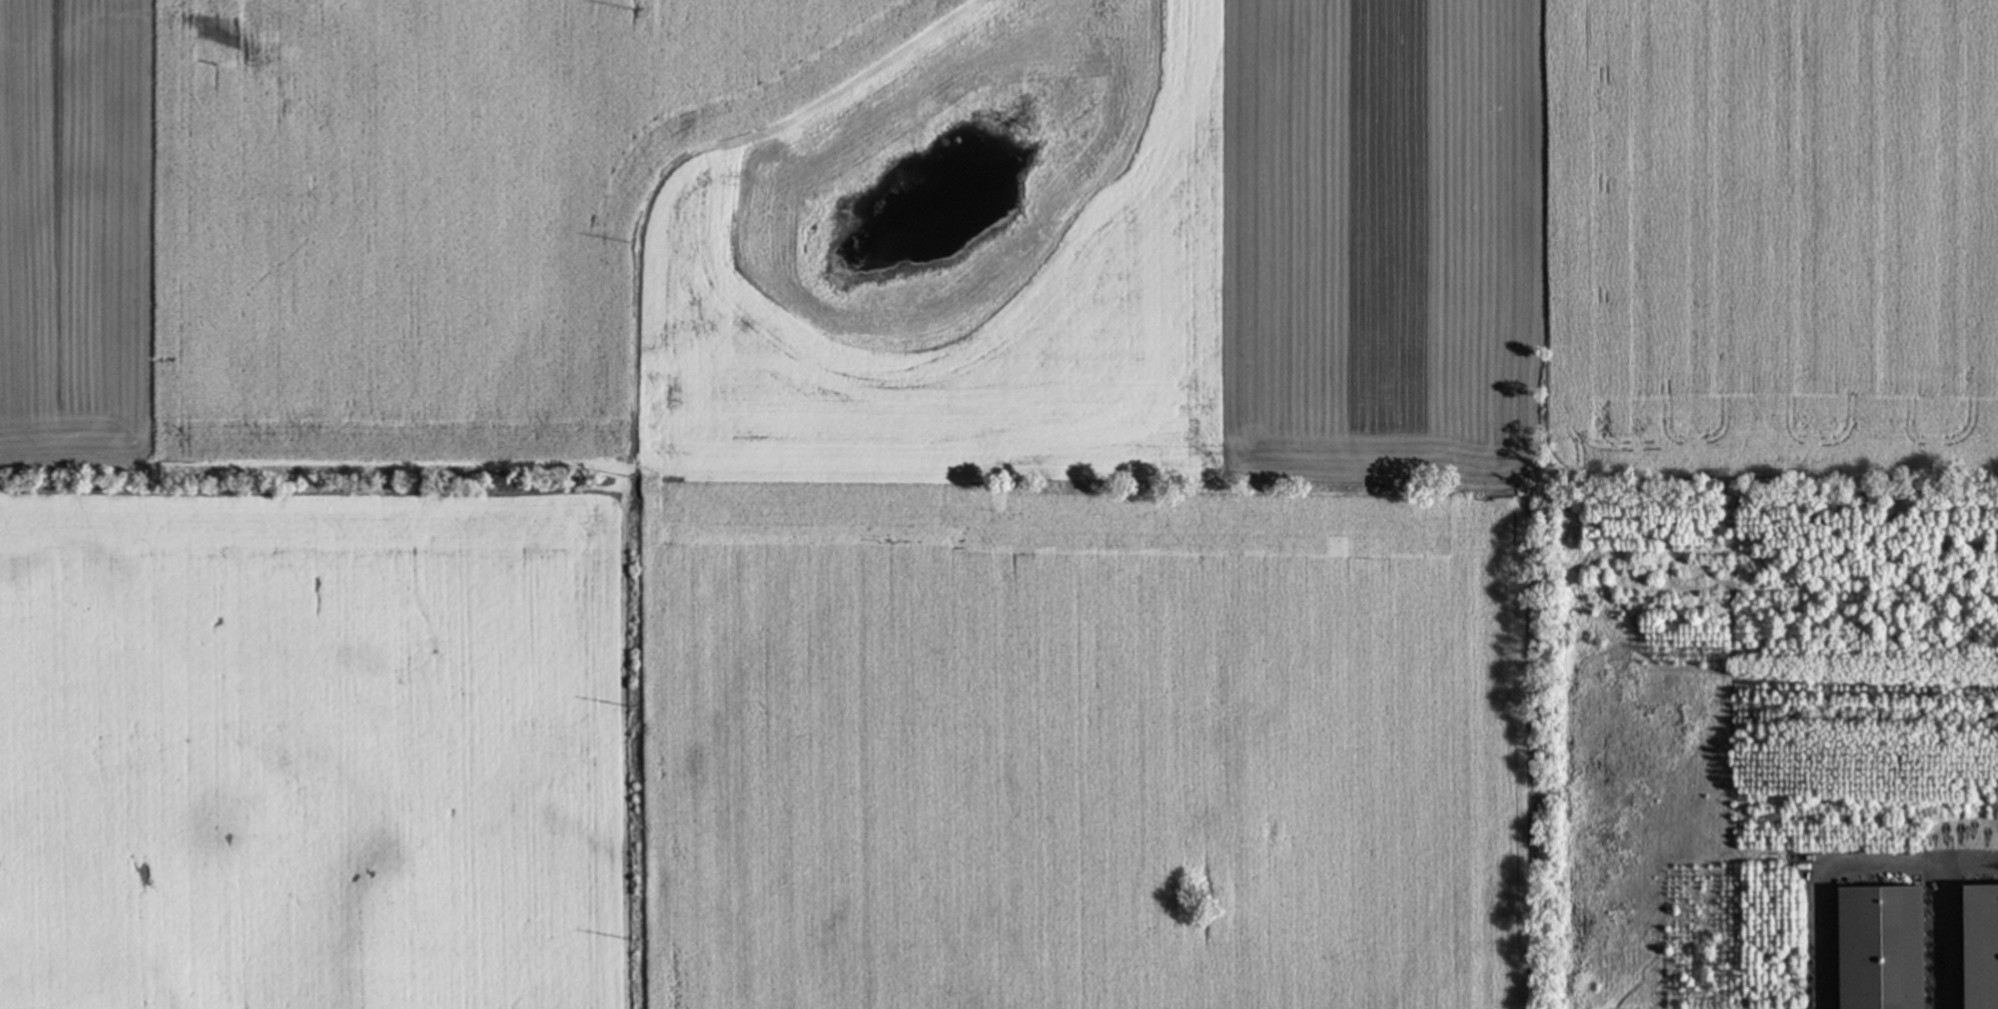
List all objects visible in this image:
building: (1987, 945)
building: (1892, 947)

